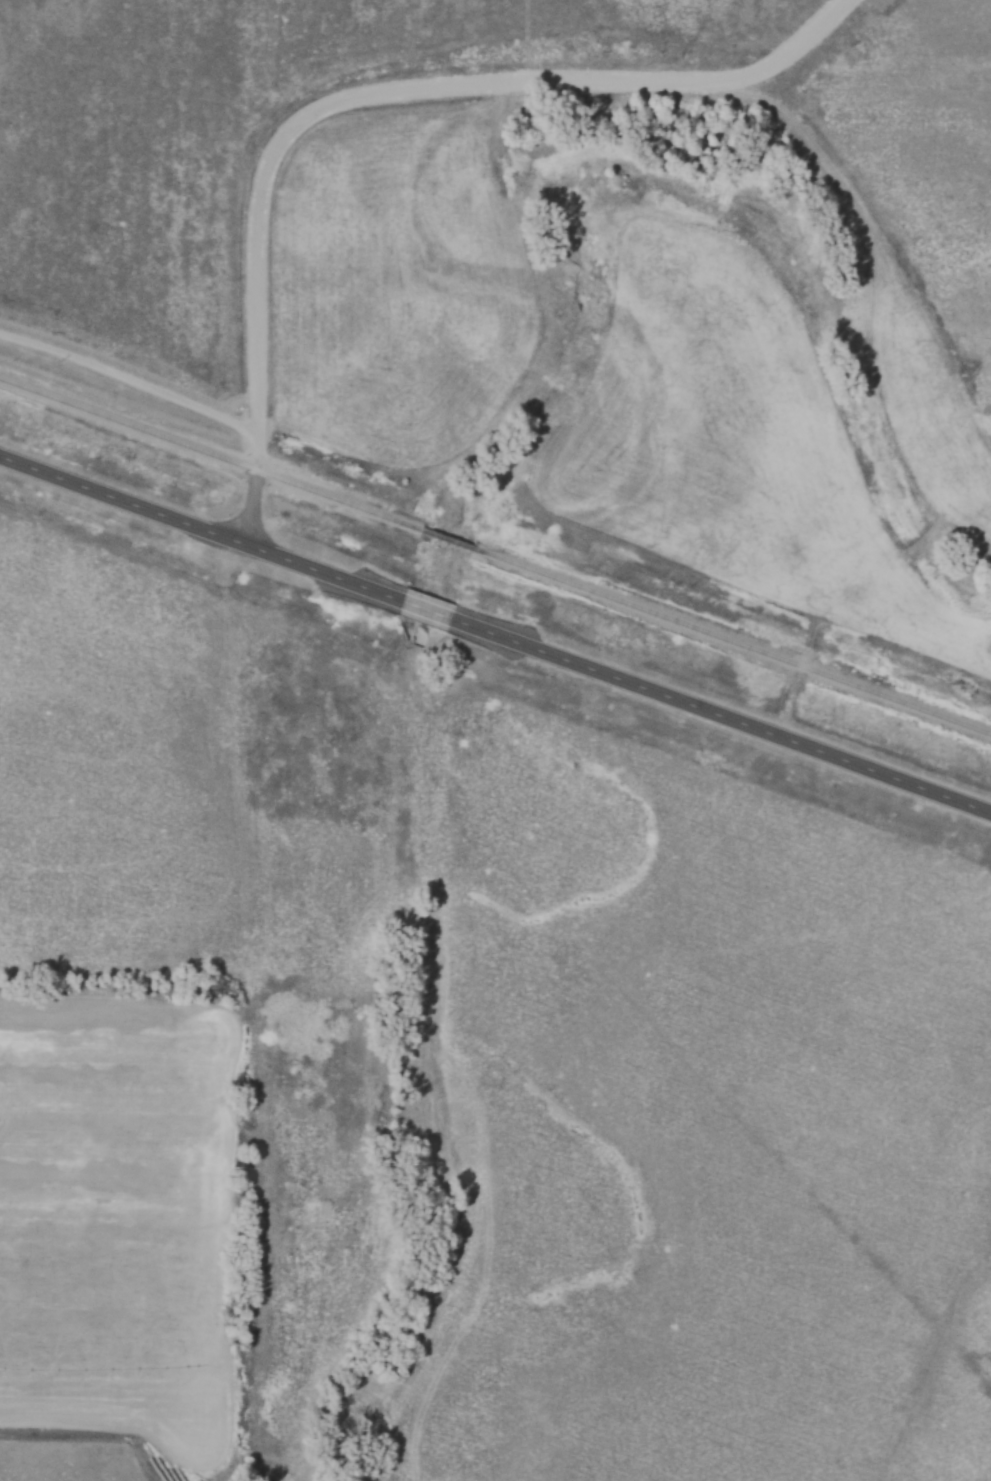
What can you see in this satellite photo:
road: (363, 92)
road: (130, 373)
railway: (211, 454)
road: (201, 528)
railway: (450, 539)
road: (428, 610)
railway: (733, 641)
road: (722, 716)

